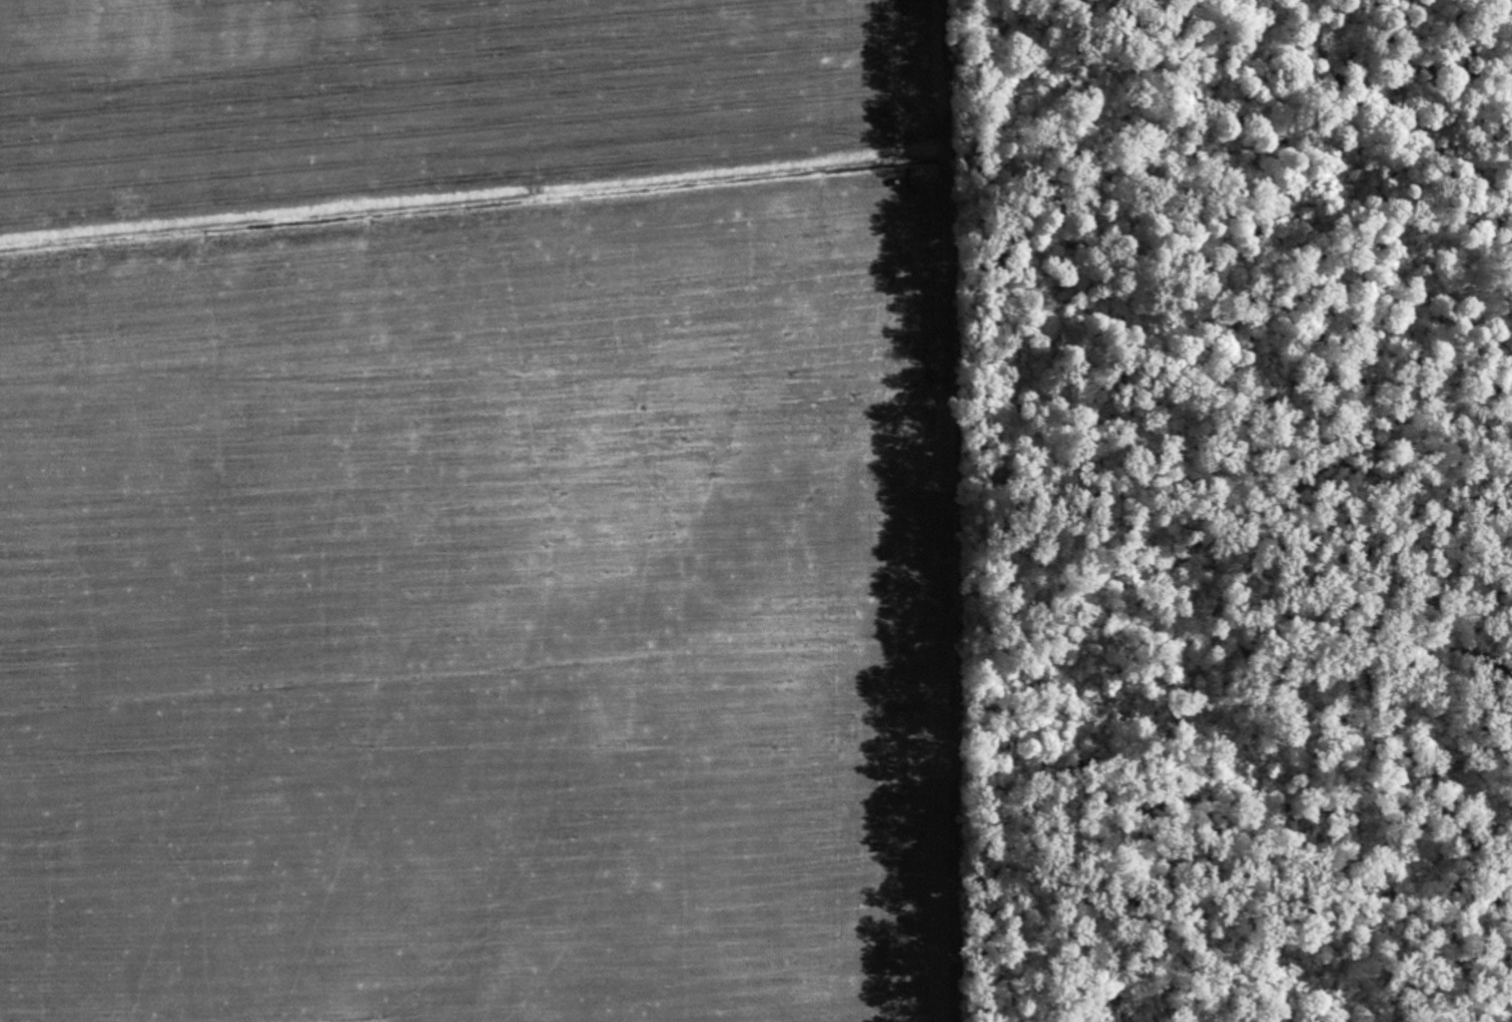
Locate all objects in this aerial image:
park: (1239, 511)

